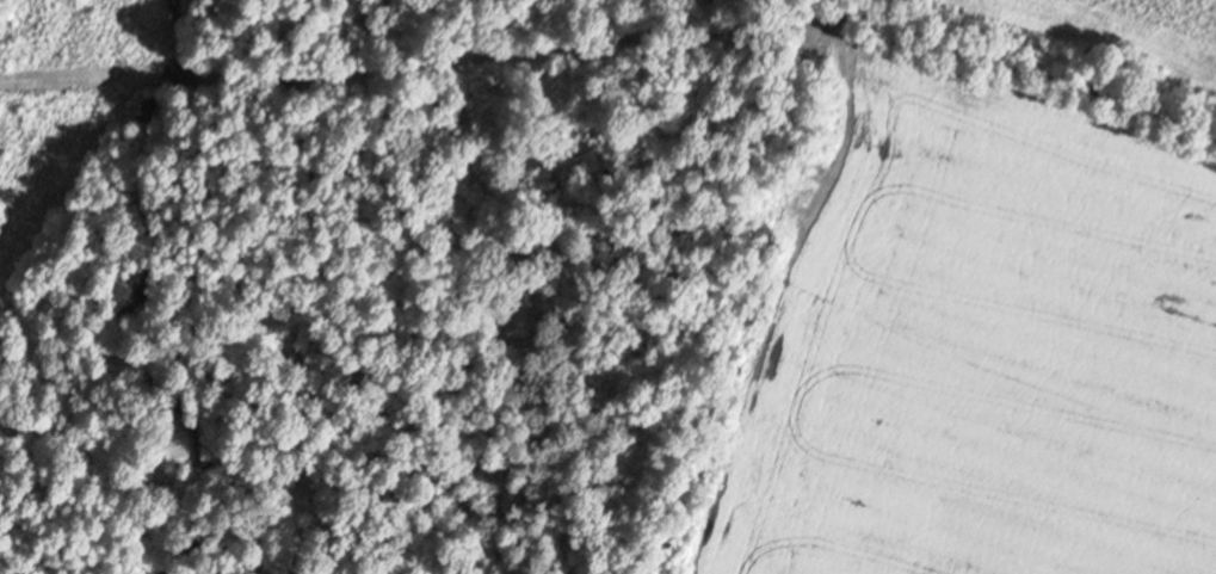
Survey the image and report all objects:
road: (1060, 56)

